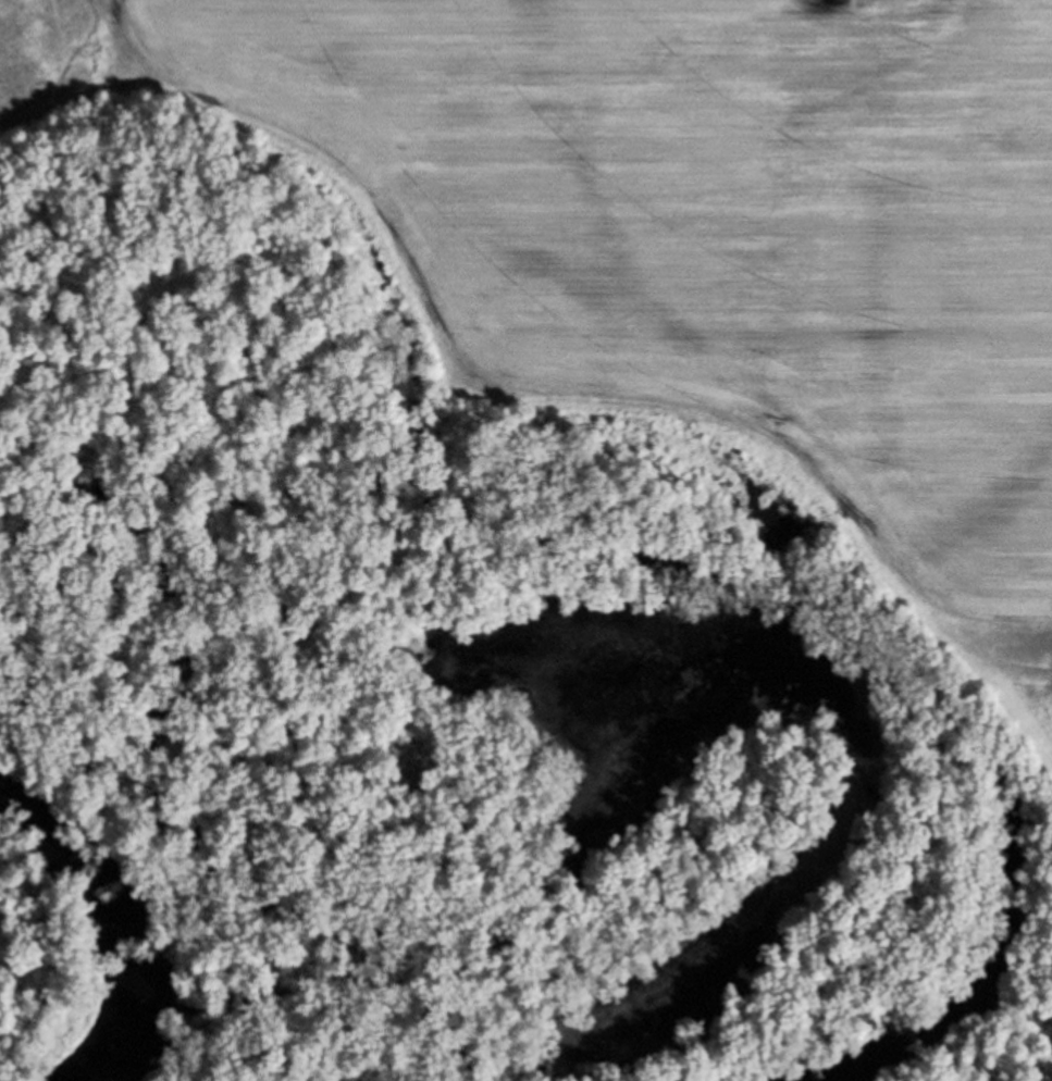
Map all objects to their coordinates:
crop: (690, 239)

